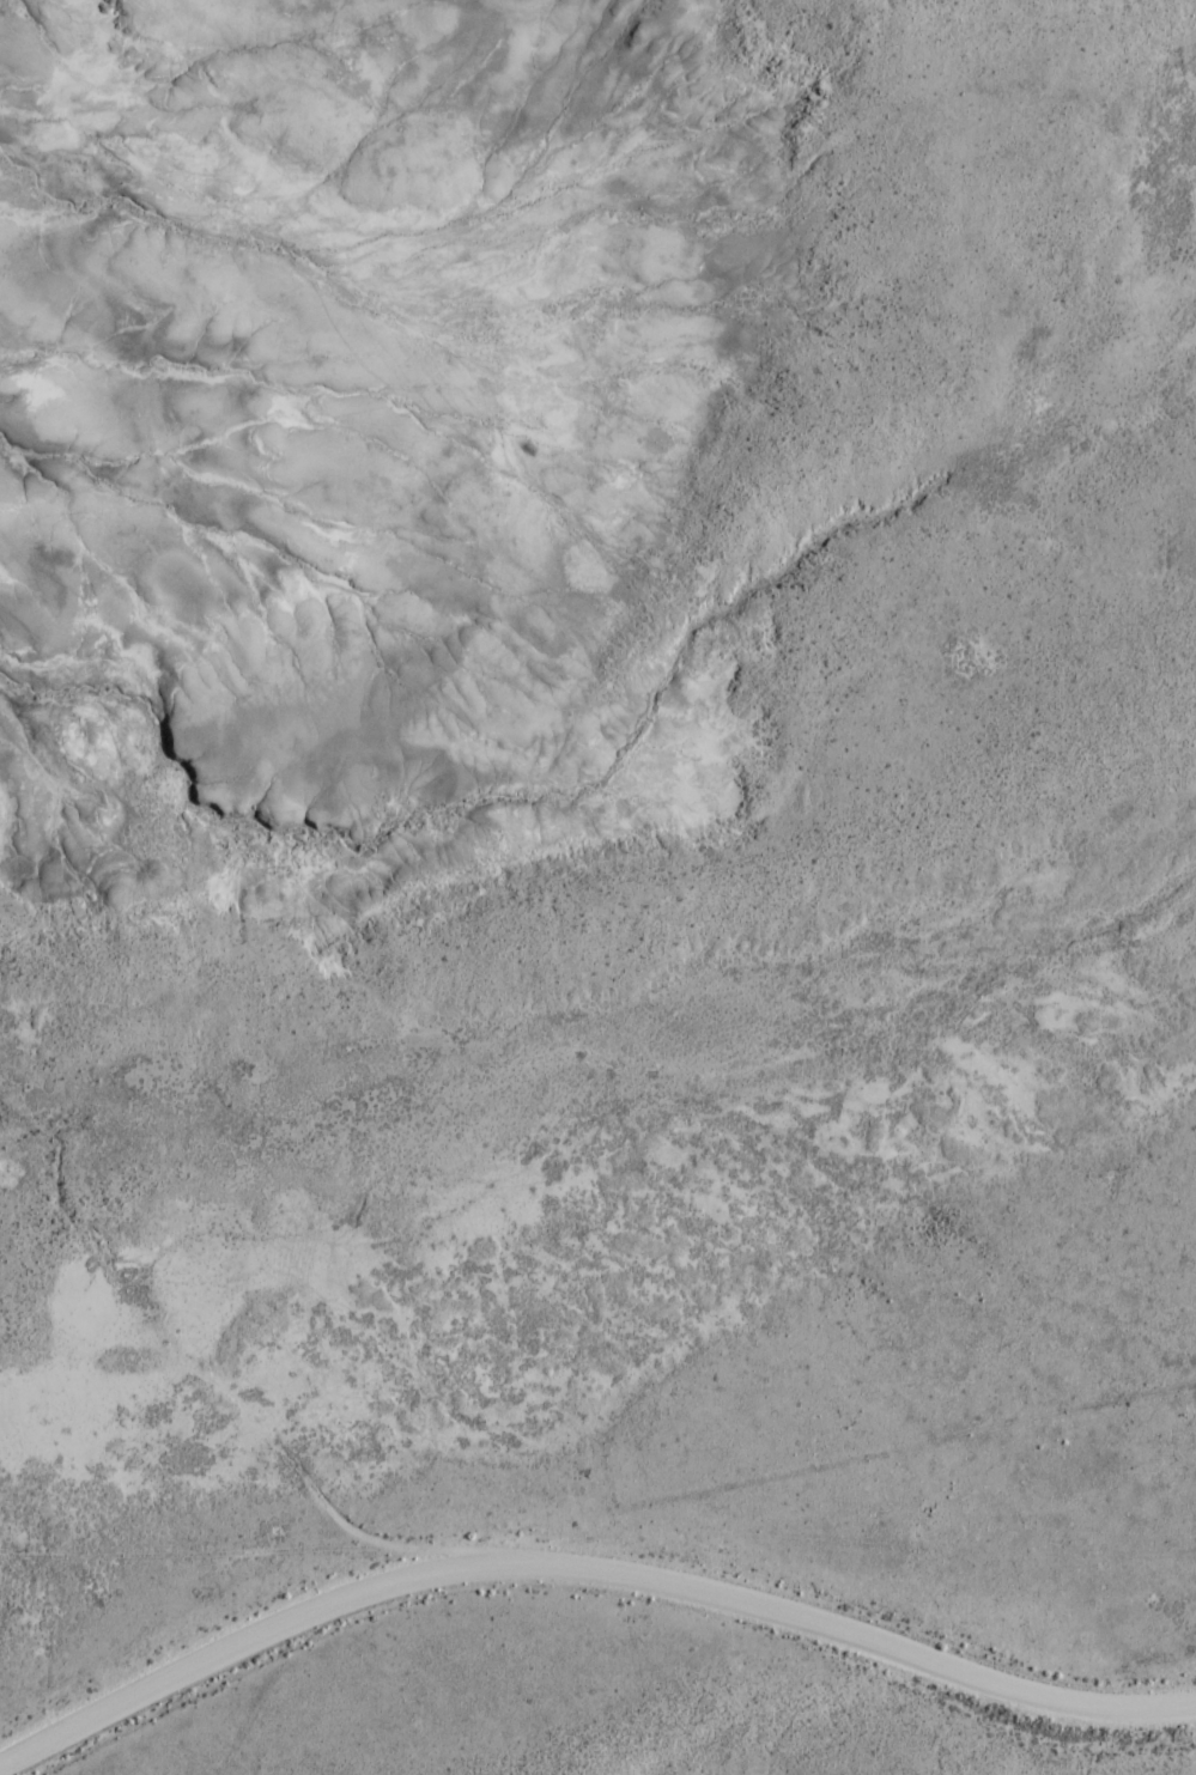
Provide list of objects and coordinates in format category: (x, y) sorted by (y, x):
road: (266, 1552)
road: (584, 1567)

